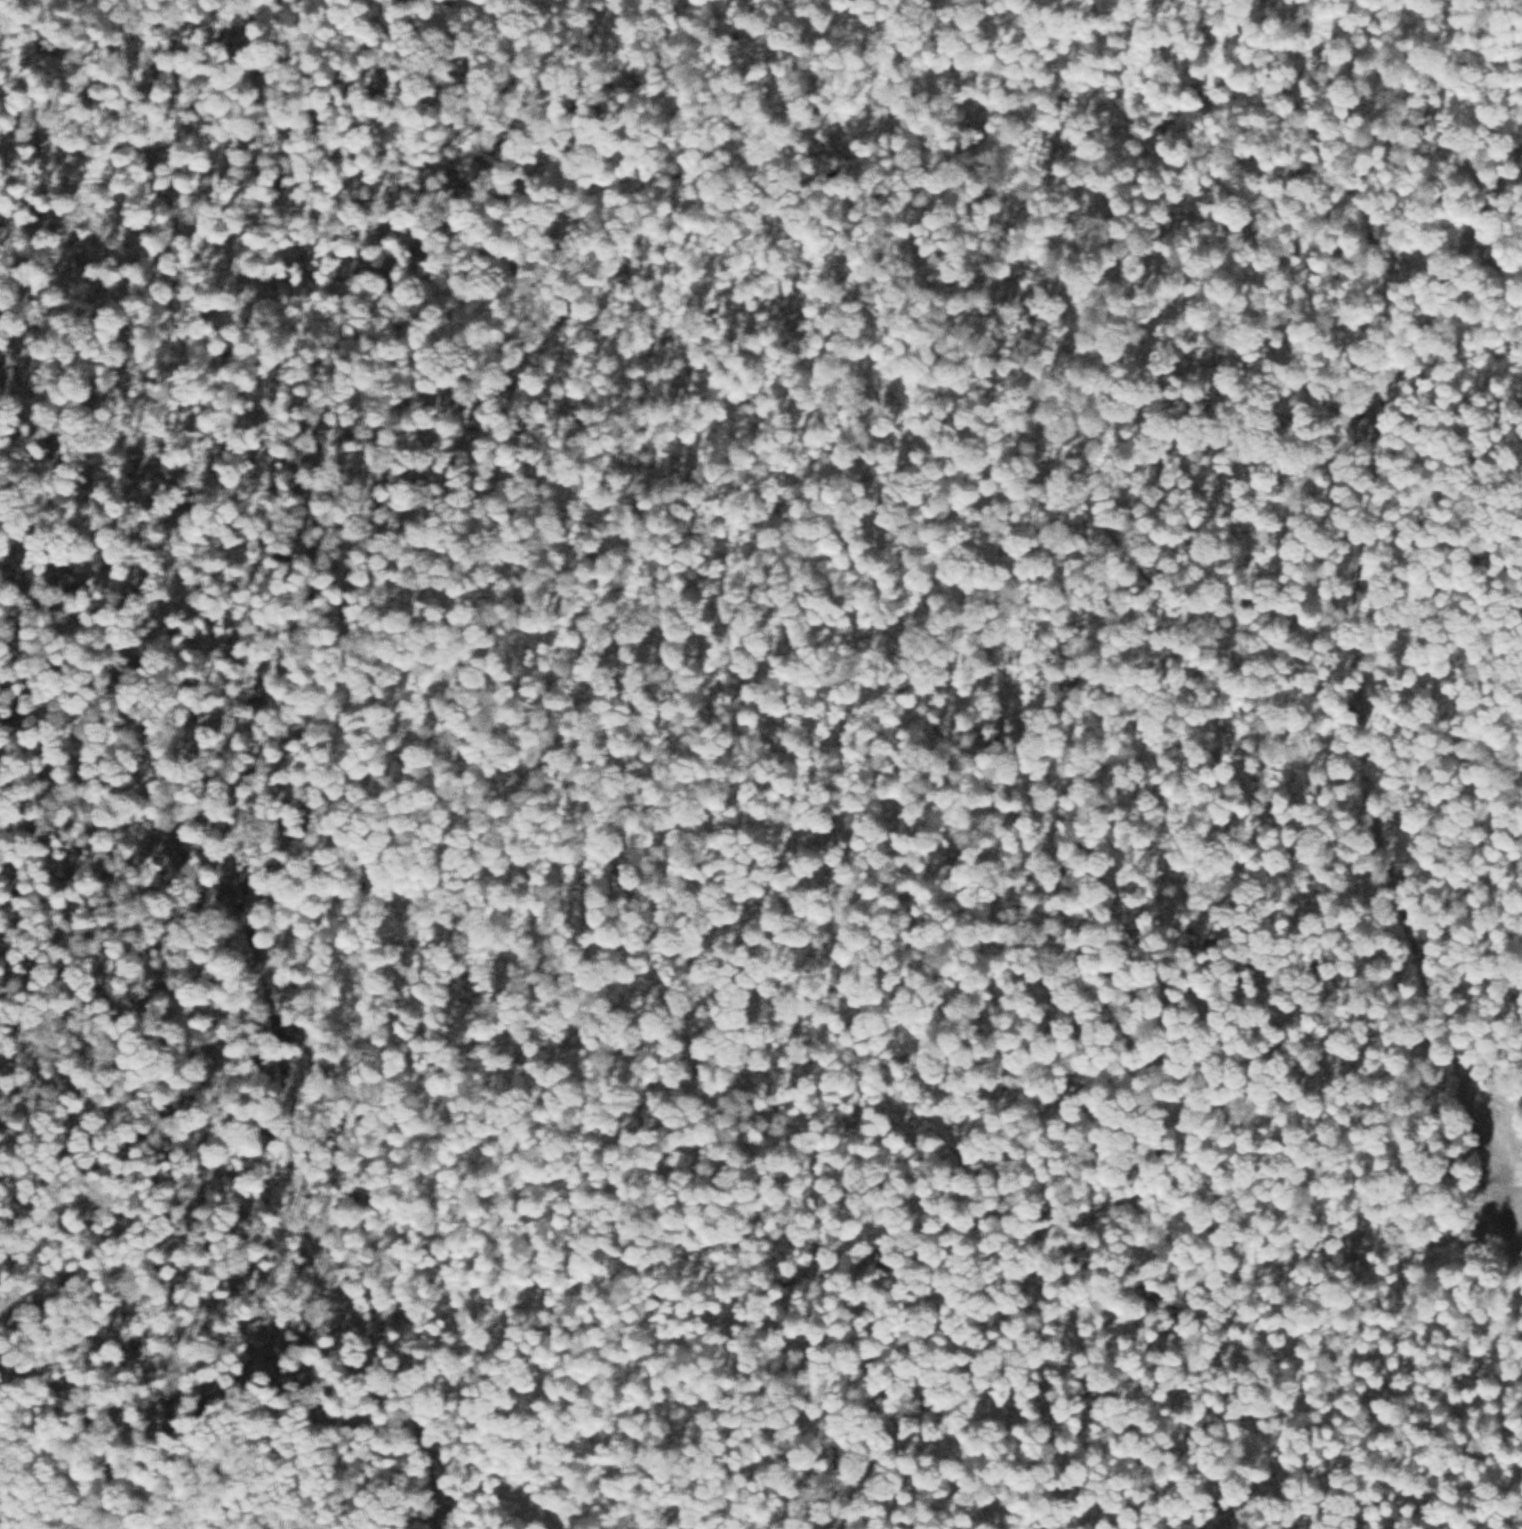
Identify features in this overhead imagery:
road: (1483, 207)
road: (1392, 744)

